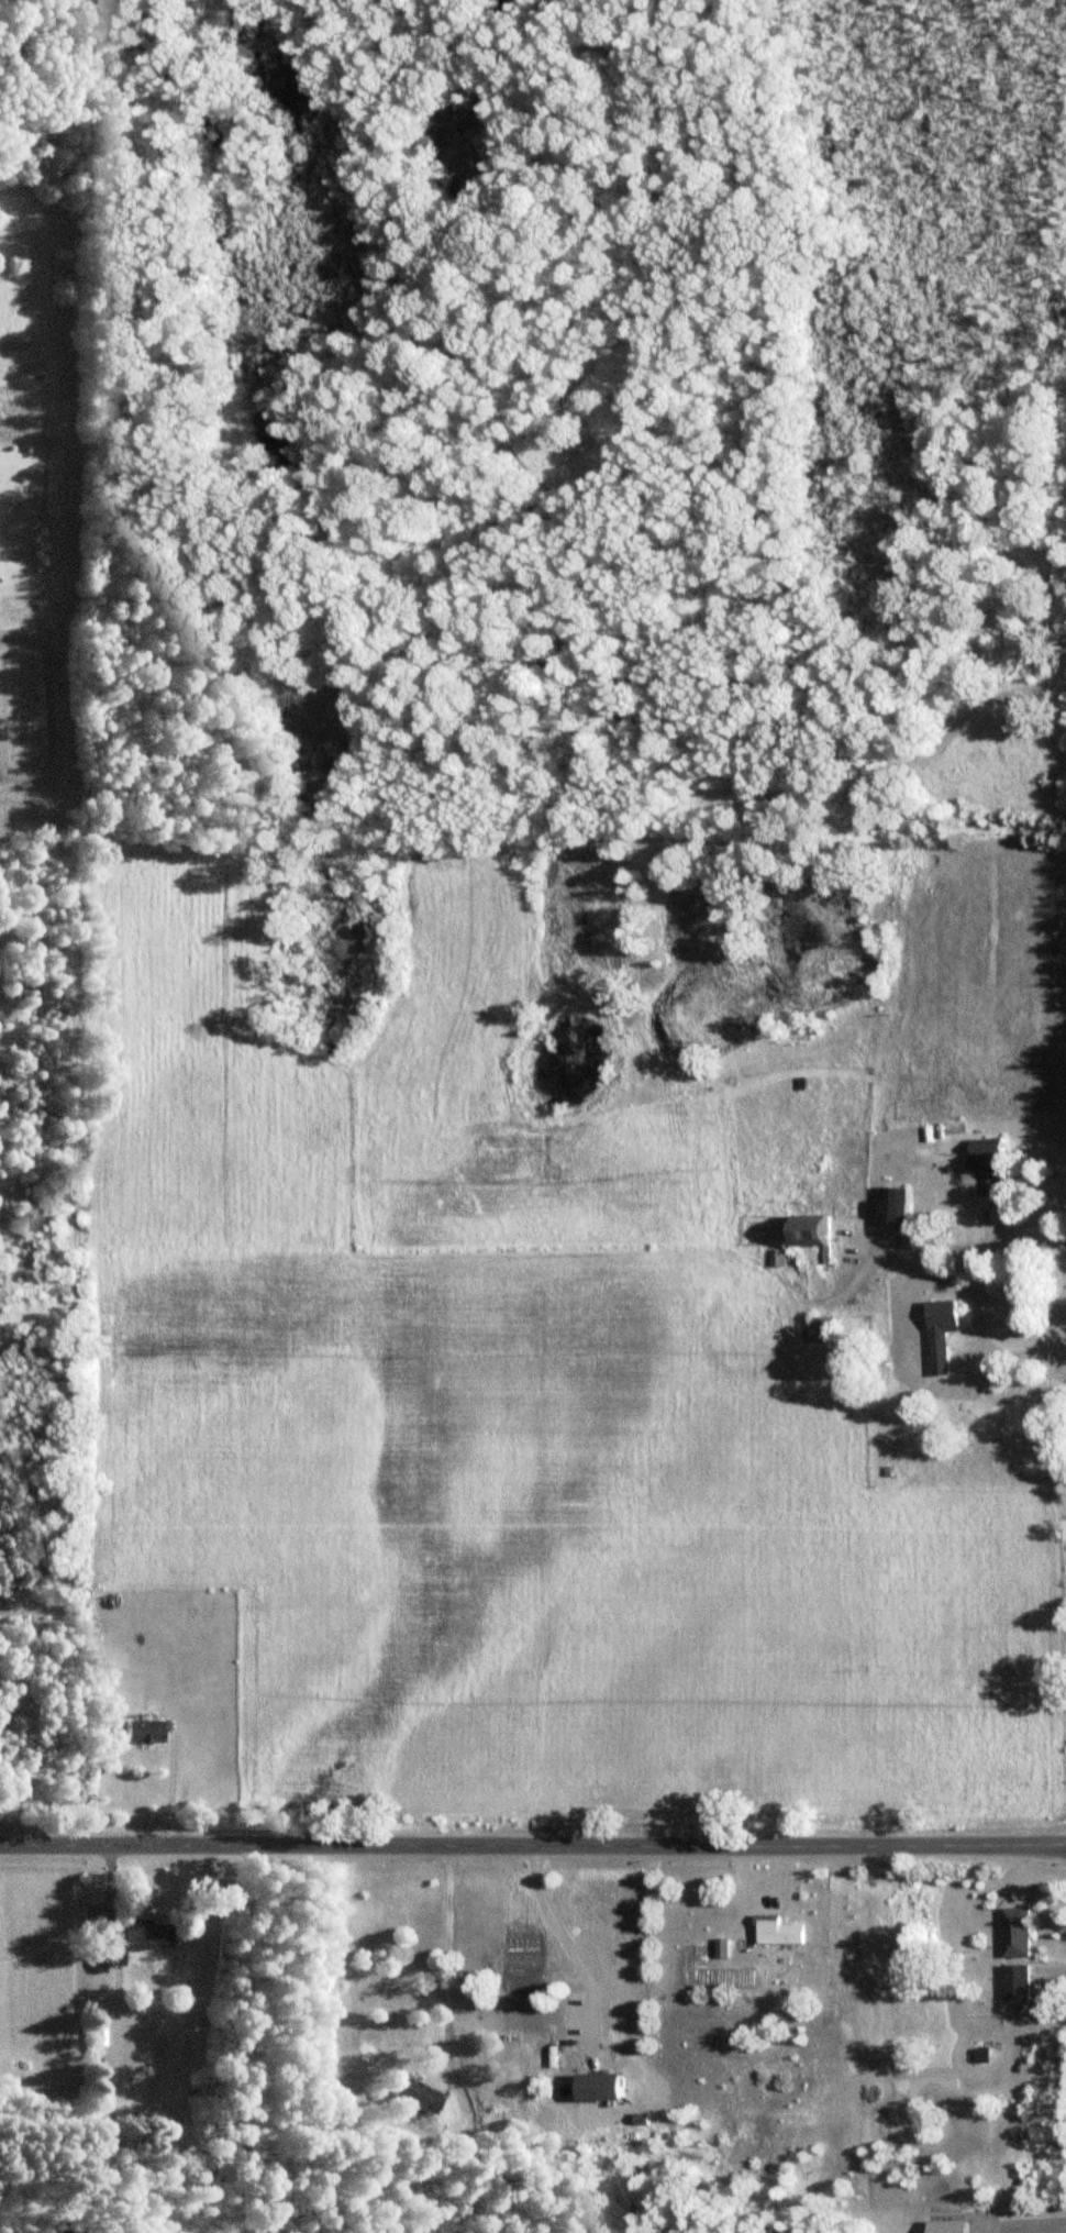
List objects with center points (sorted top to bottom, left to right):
building: (1006, 1170)
building: (795, 1229)
building: (780, 1258)
road: (982, 1303)
building: (828, 1329)
building: (945, 1334)
building: (143, 1731)
road: (170, 1786)
road: (533, 1844)
building: (785, 1931)
building: (1018, 1932)
building: (140, 1938)
road: (578, 1946)
road: (444, 1950)
building: (1018, 1982)
building: (418, 2096)
building: (953, 2228)

